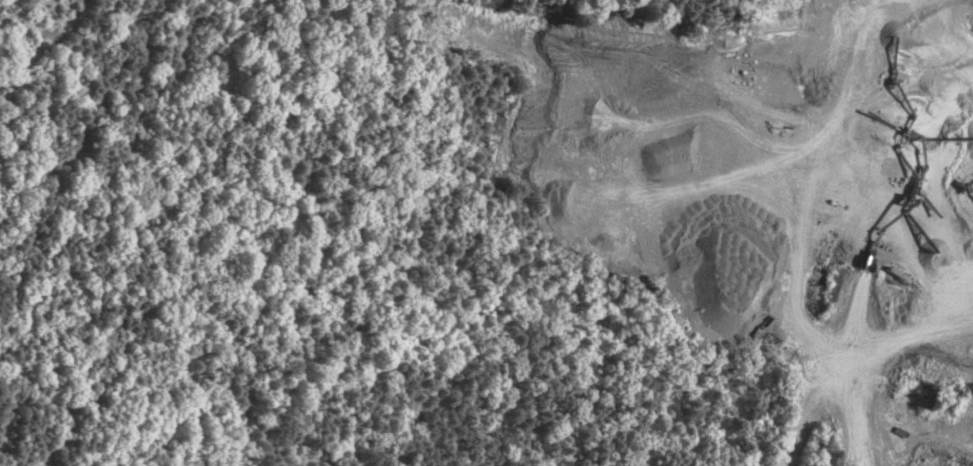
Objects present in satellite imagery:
road: (811, 162)
quarry: (803, 229)
road: (940, 332)
road: (861, 352)
road: (807, 416)

